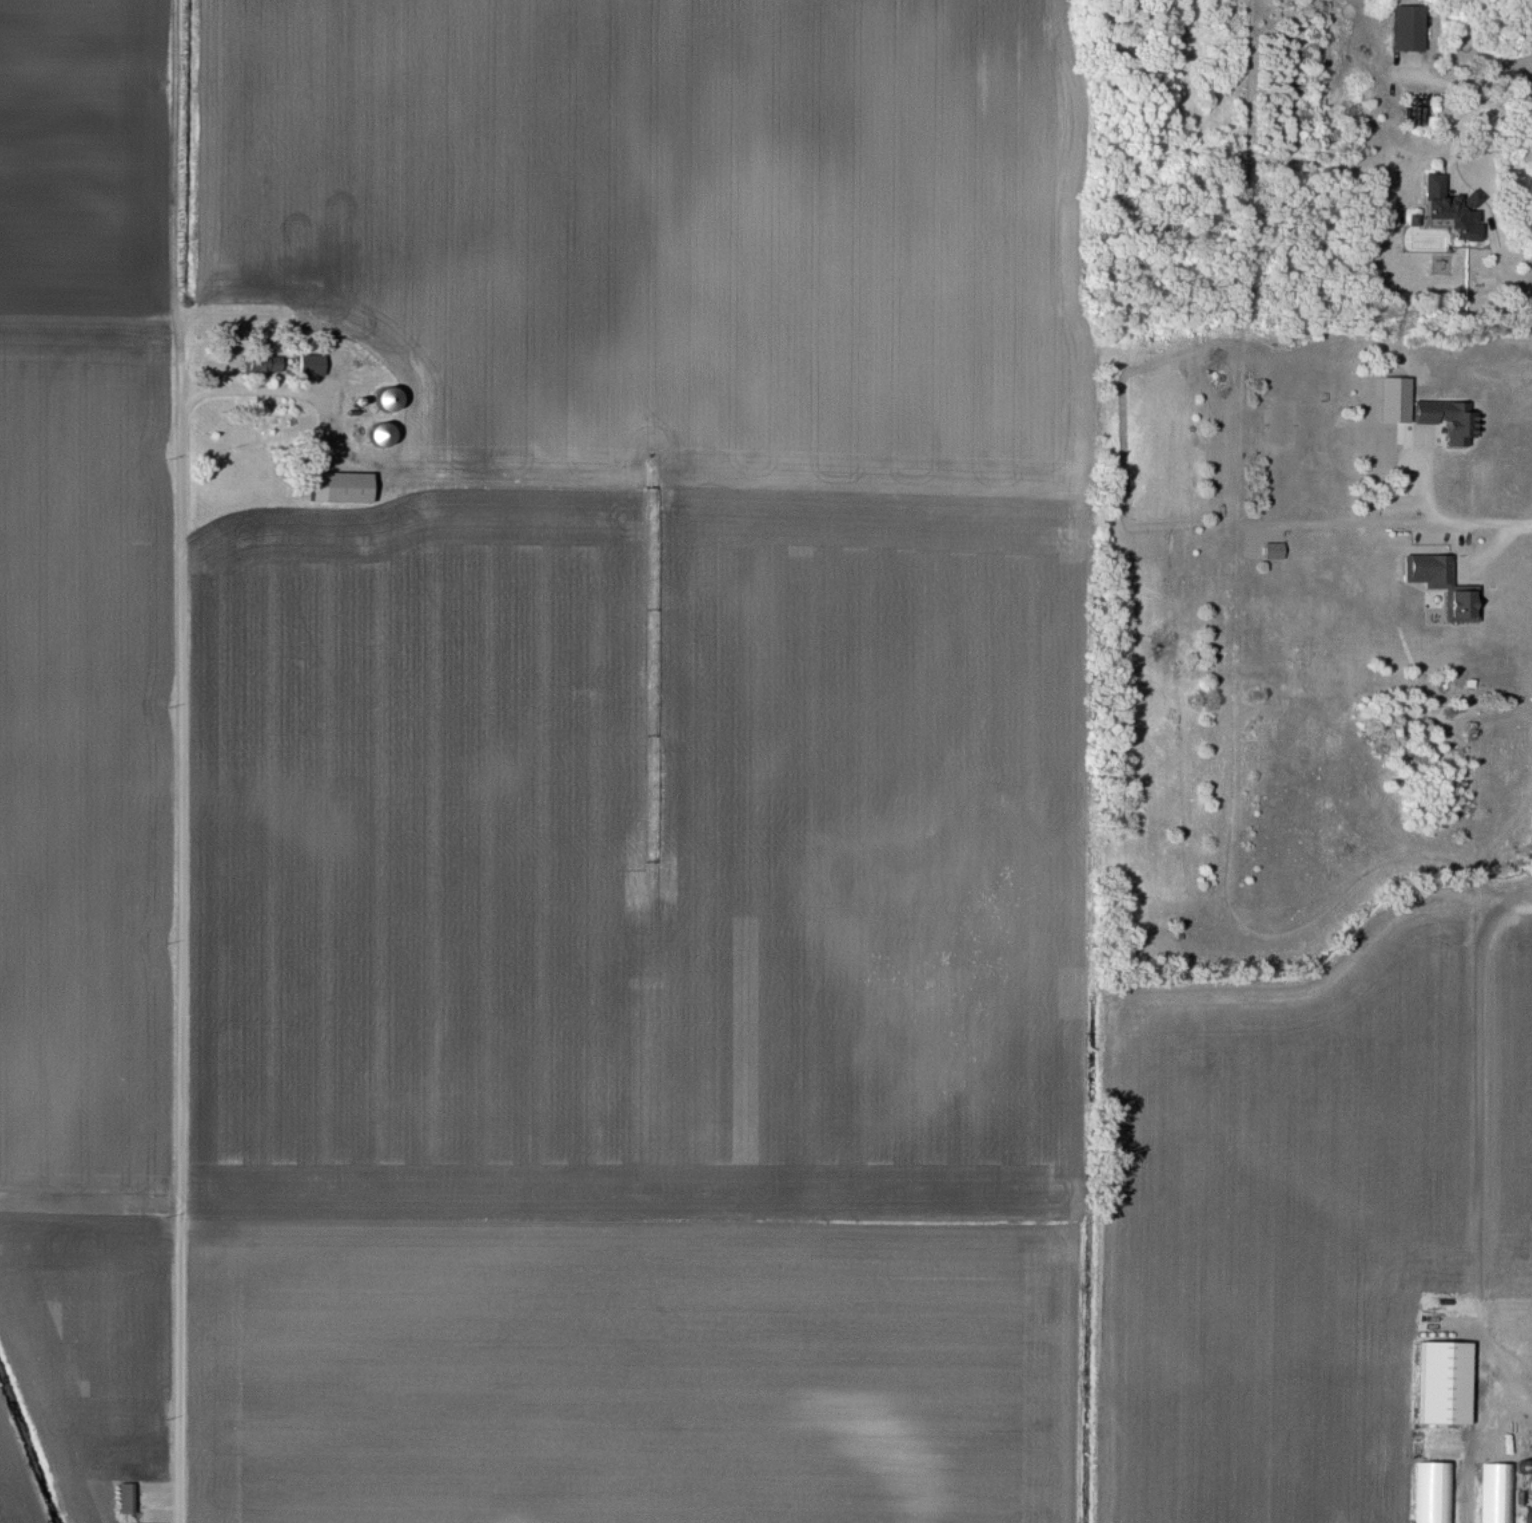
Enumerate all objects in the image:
building: (1406, 30)
road: (1463, 82)
building: (1451, 210)
road: (1497, 258)
building: (310, 366)
road: (281, 392)
building: (1393, 402)
building: (1444, 420)
building: (341, 490)
road: (1416, 526)
building: (1273, 552)
building: (1440, 586)
road: (181, 948)
building: (1442, 1384)
road: (1475, 1446)
building: (1435, 1493)
building: (1499, 1493)
building: (125, 1500)

